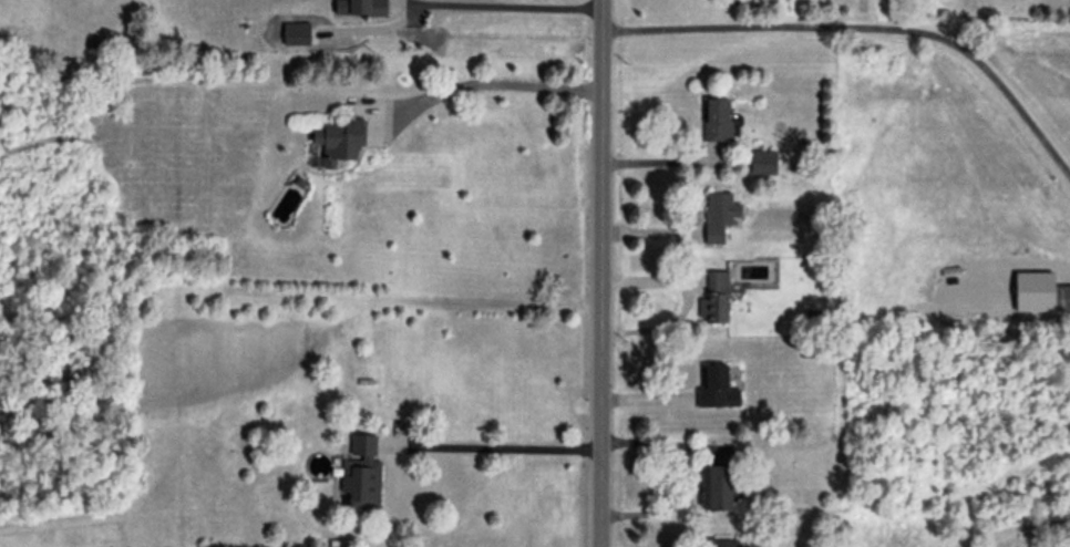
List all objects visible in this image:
road: (496, 6)
building: (367, 7)
road: (865, 27)
road: (479, 82)
building: (714, 121)
building: (333, 143)
building: (761, 164)
building: (717, 218)
road: (600, 273)
building: (714, 300)
building: (1060, 300)
building: (714, 391)
road: (497, 442)
building: (361, 474)
building: (712, 491)
building: (721, 544)

